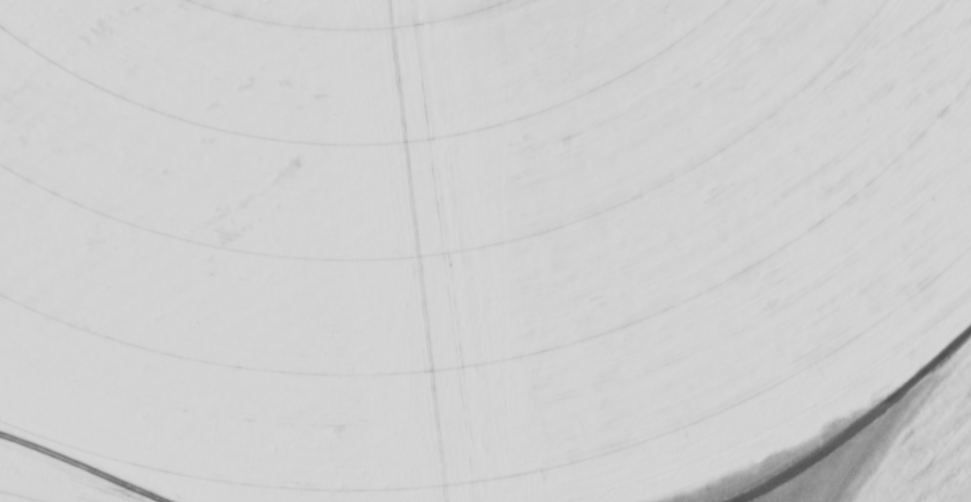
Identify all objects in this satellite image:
road: (839, 398)
road: (73, 476)

